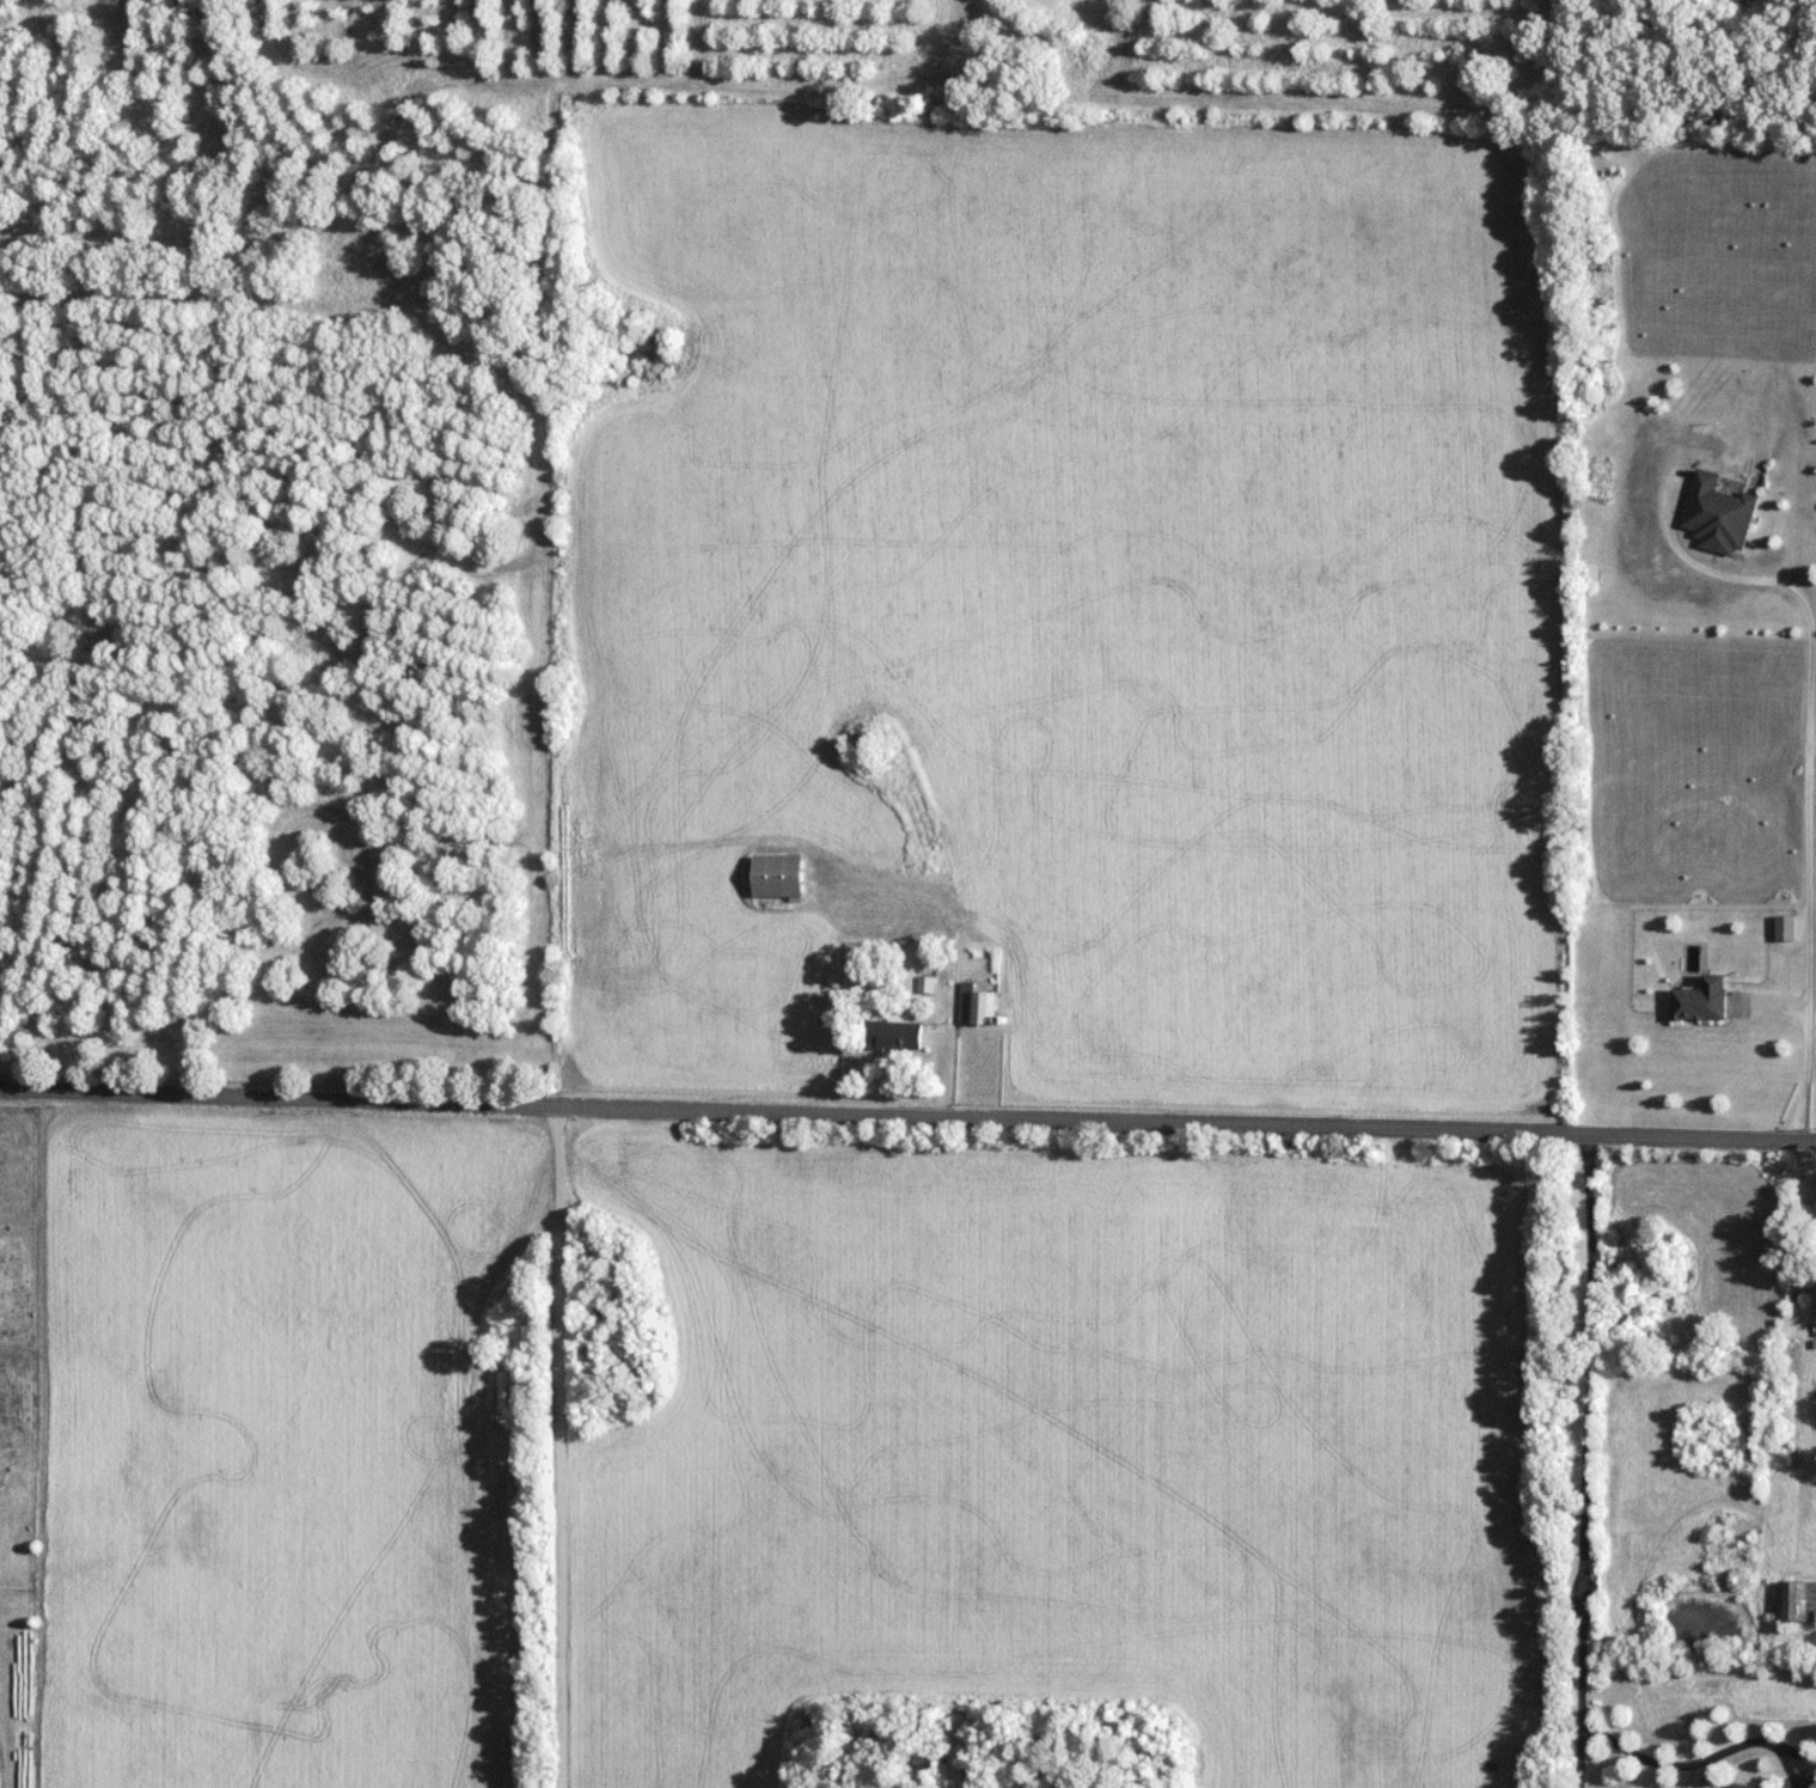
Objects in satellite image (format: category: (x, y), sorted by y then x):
building: (1719, 514)
road: (1684, 559)
building: (1590, 575)
road: (1808, 856)
building: (781, 877)
building: (1786, 928)
building: (1704, 1000)
building: (979, 1006)
building: (895, 1035)
road: (907, 1110)
building: (1790, 1359)
road: (560, 1444)
road: (1582, 1458)
building: (1797, 1601)
road: (1700, 1759)

